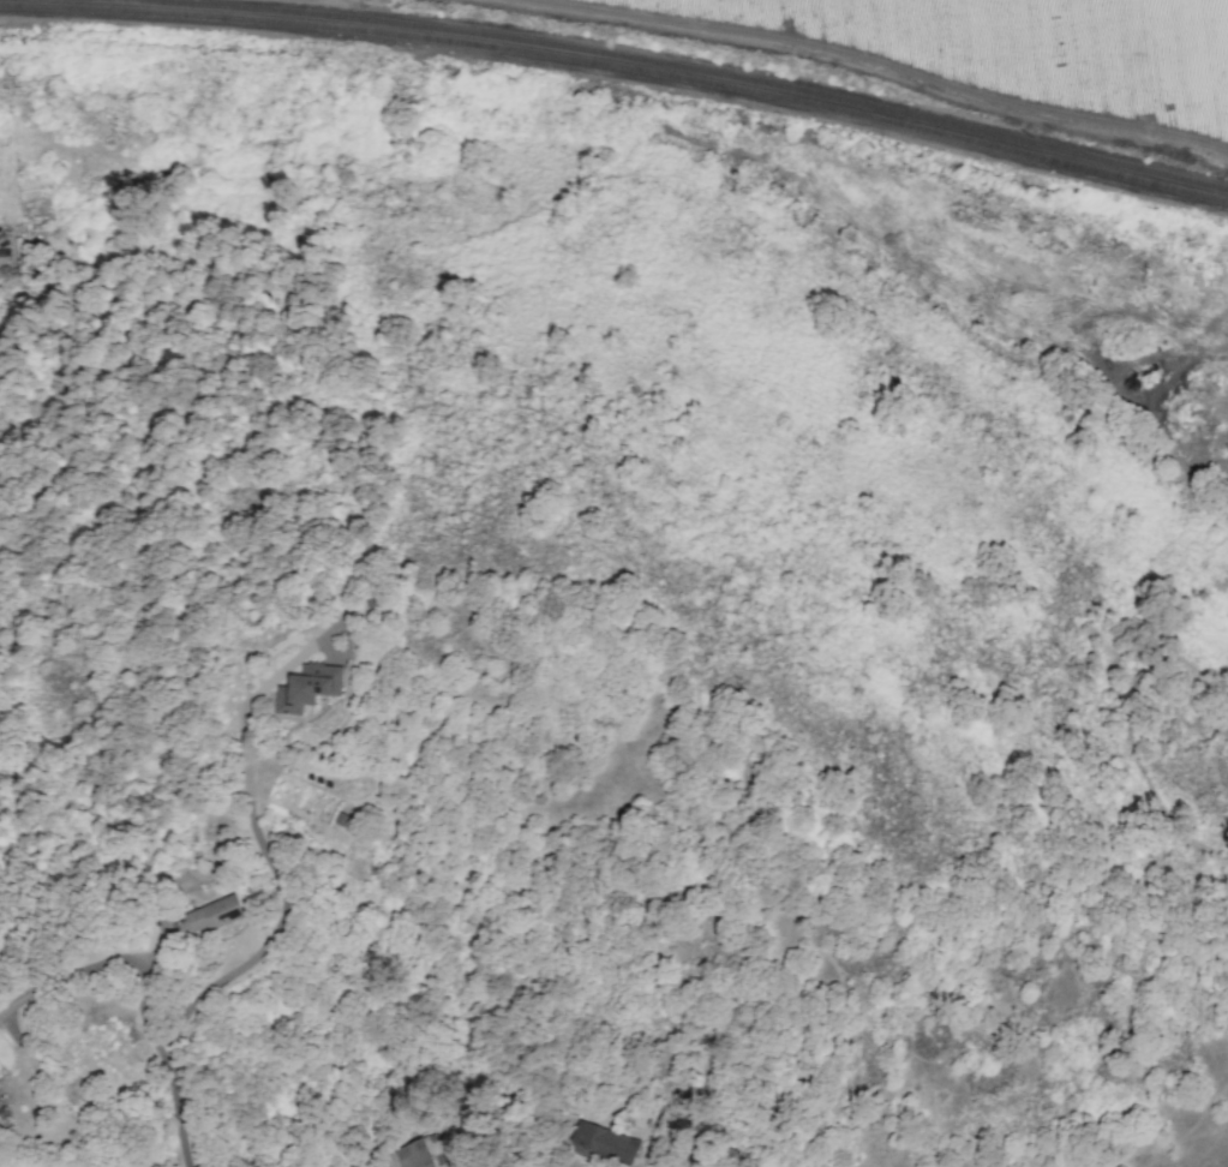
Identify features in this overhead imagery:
crop: (984, 55)
railway: (618, 67)
railway: (677, 67)
building: (22, 250)
building: (309, 687)
building: (215, 912)
road: (280, 914)
building: (604, 1141)
building: (419, 1155)

